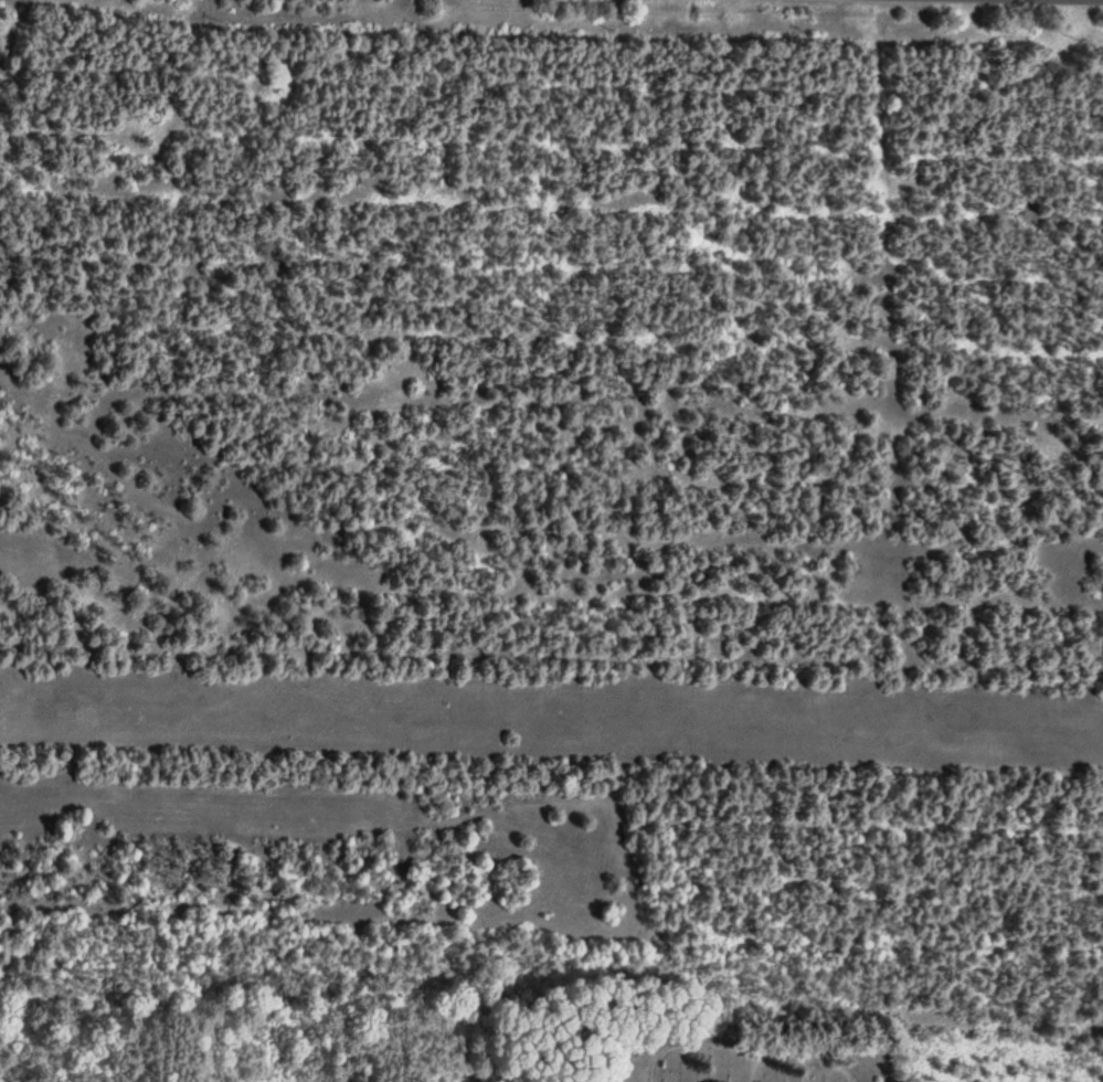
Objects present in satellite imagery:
park: (732, 1041)
road: (744, 1046)

